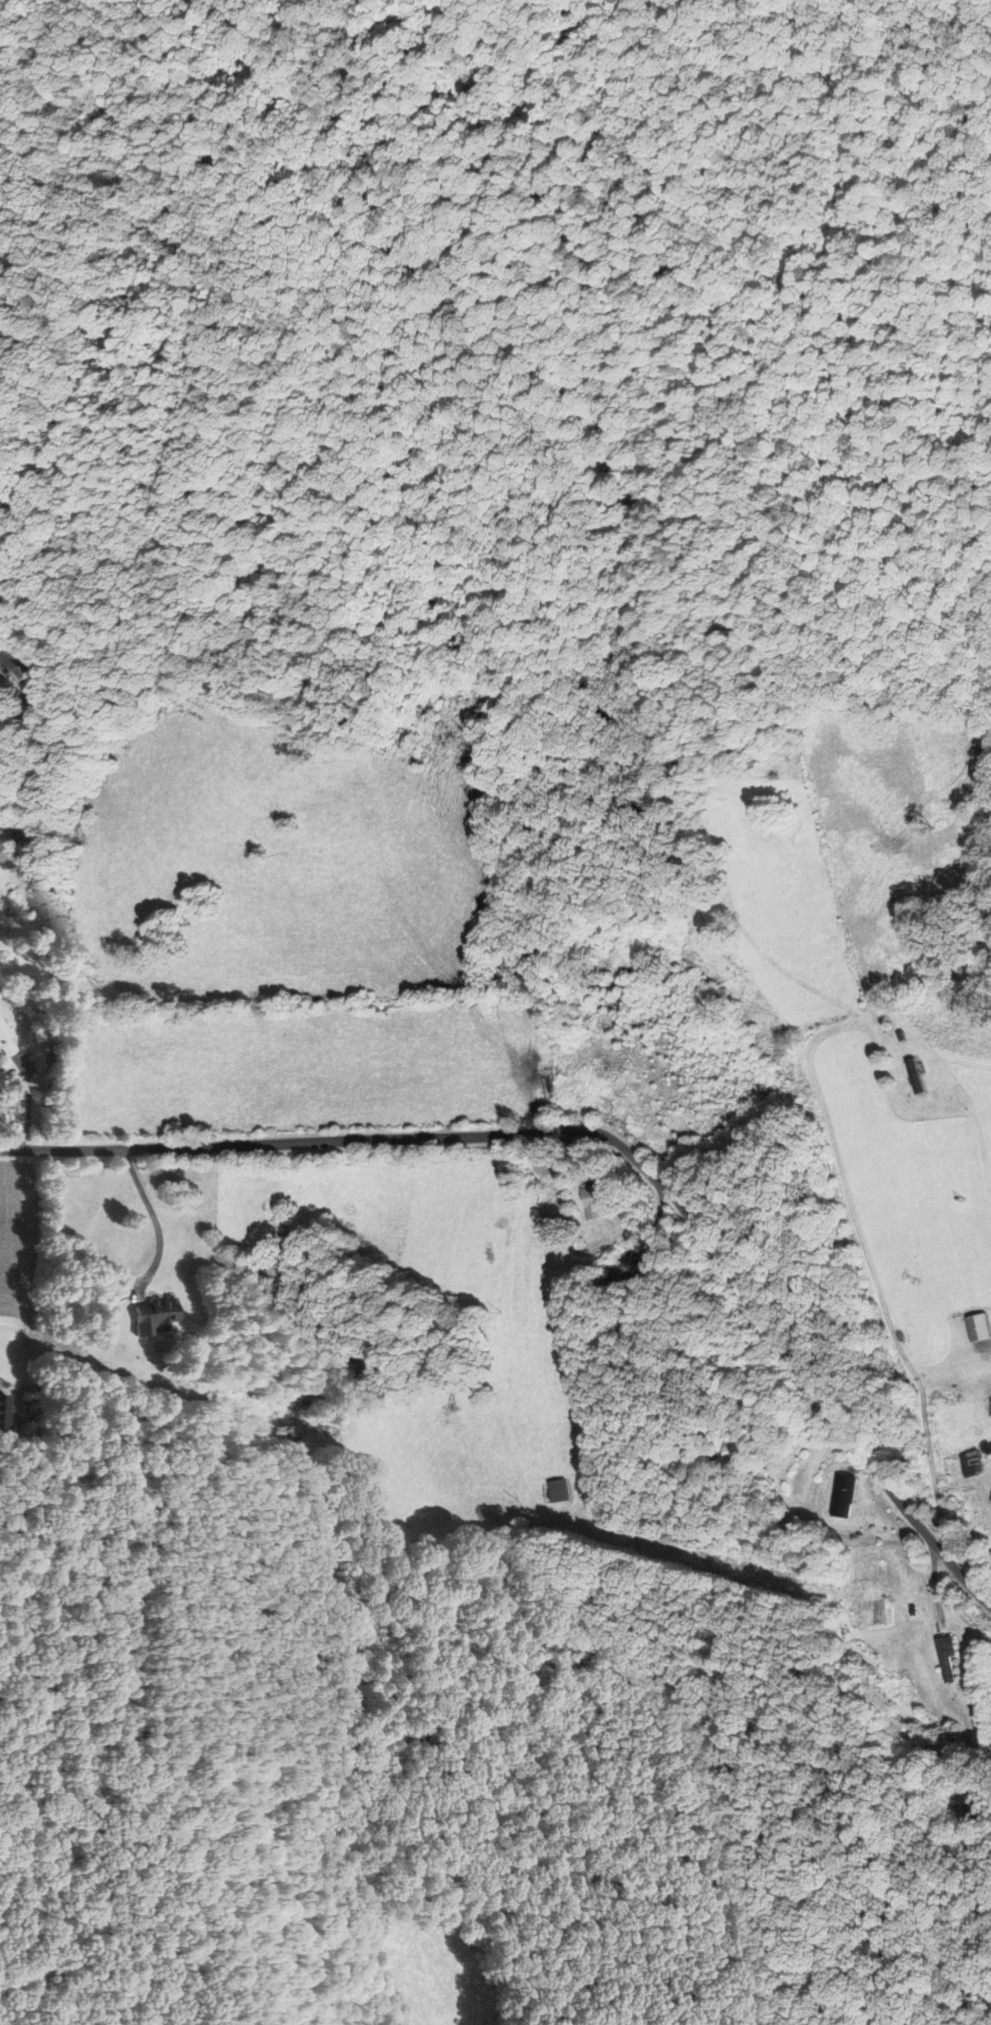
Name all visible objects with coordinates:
building: (33, 693)
building: (4, 1043)
building: (909, 1075)
road: (29, 1101)
road: (607, 1135)
building: (587, 1201)
road: (154, 1218)
building: (155, 1316)
building: (989, 1408)
building: (968, 1464)
building: (558, 1490)
building: (843, 1495)
building: (955, 1656)

